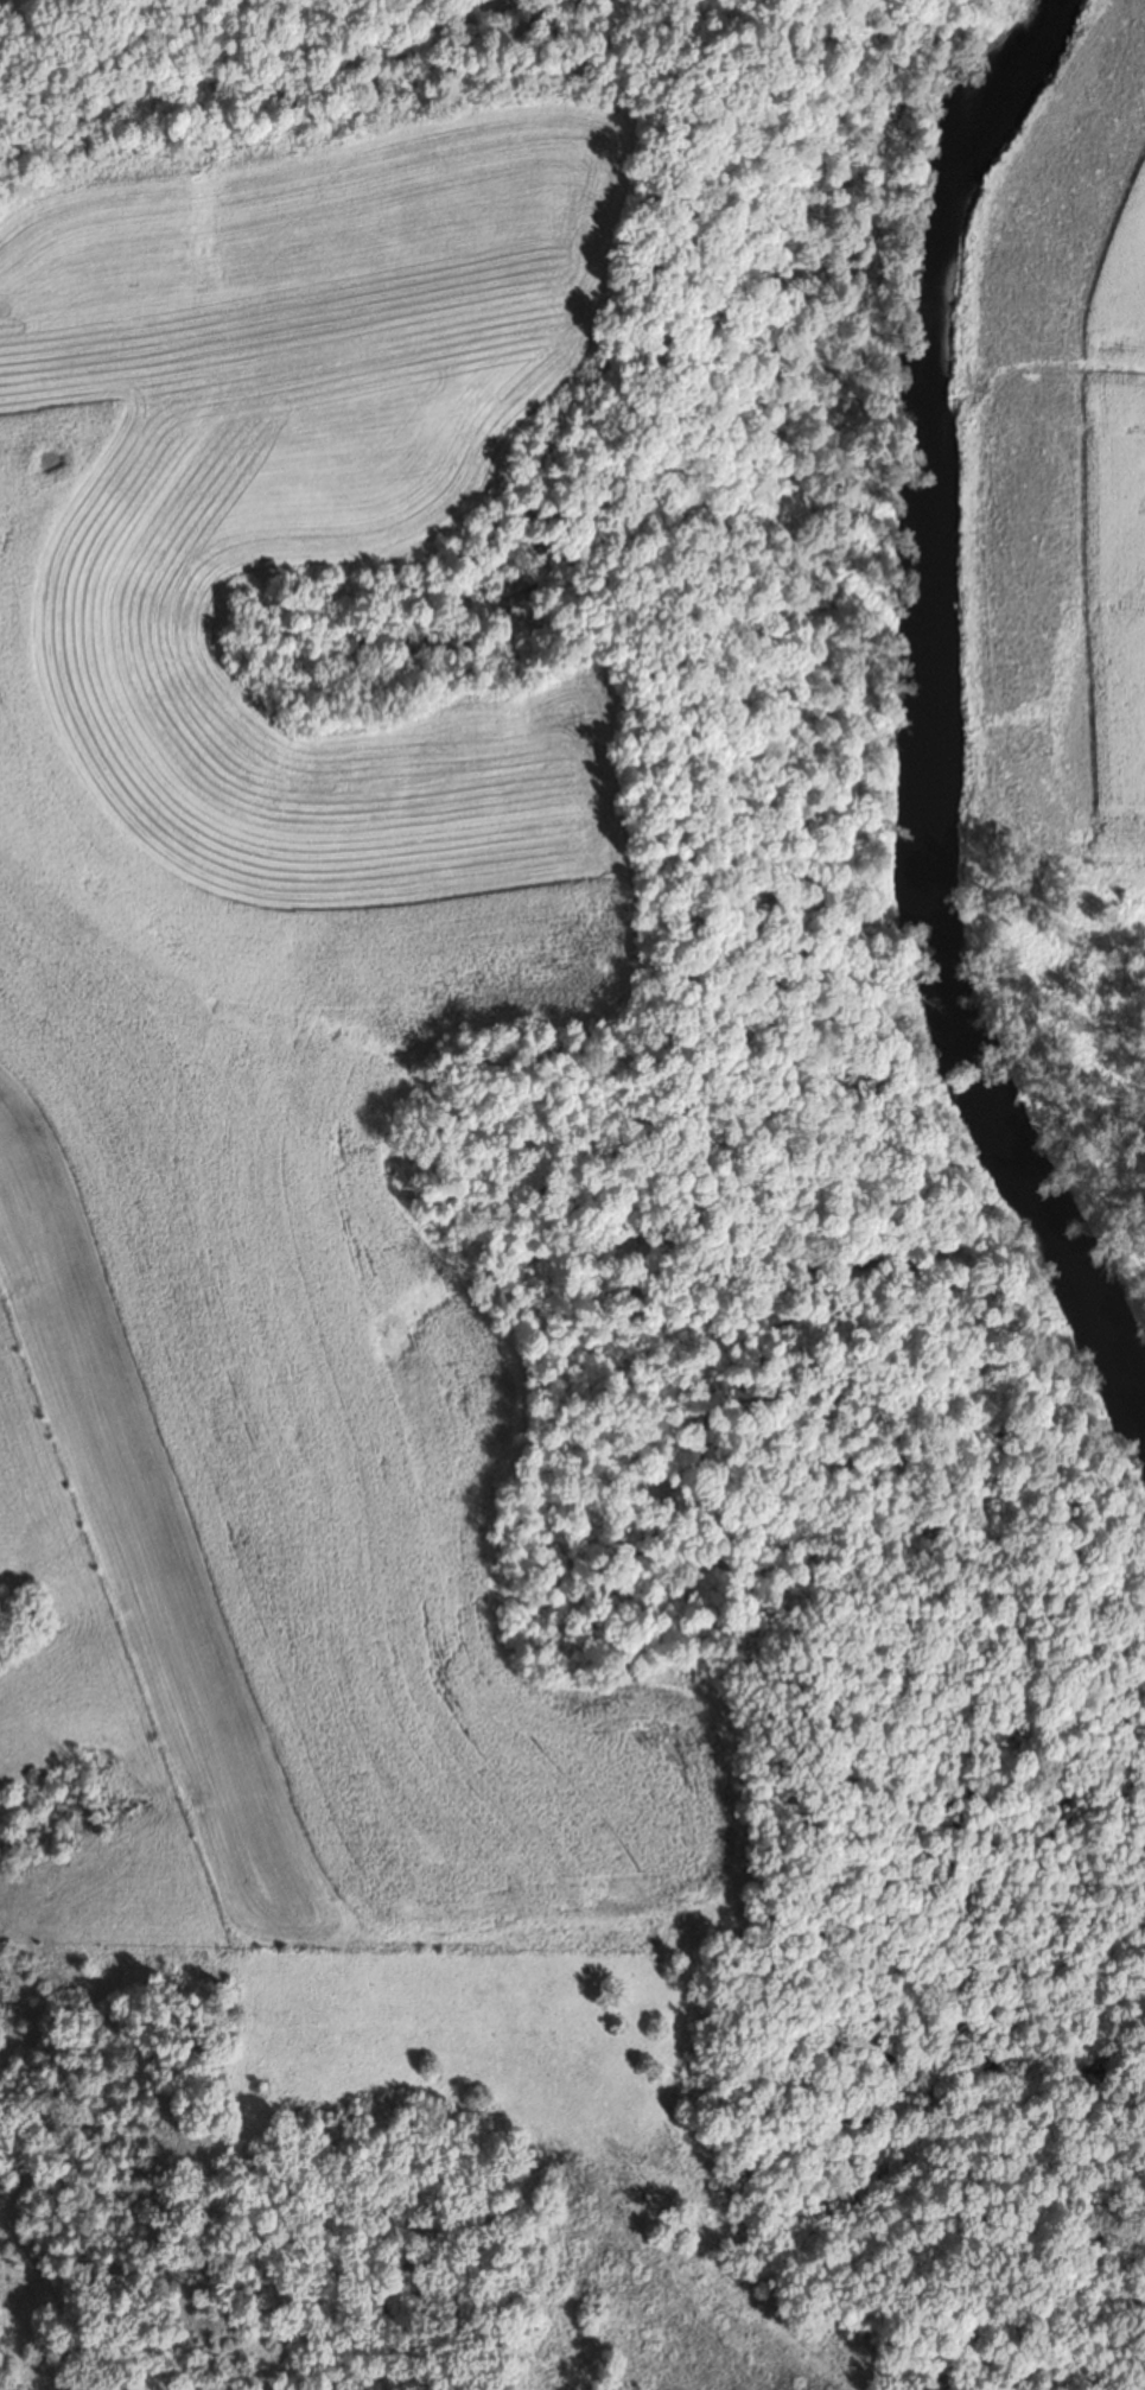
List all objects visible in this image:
river: (928, 744)

